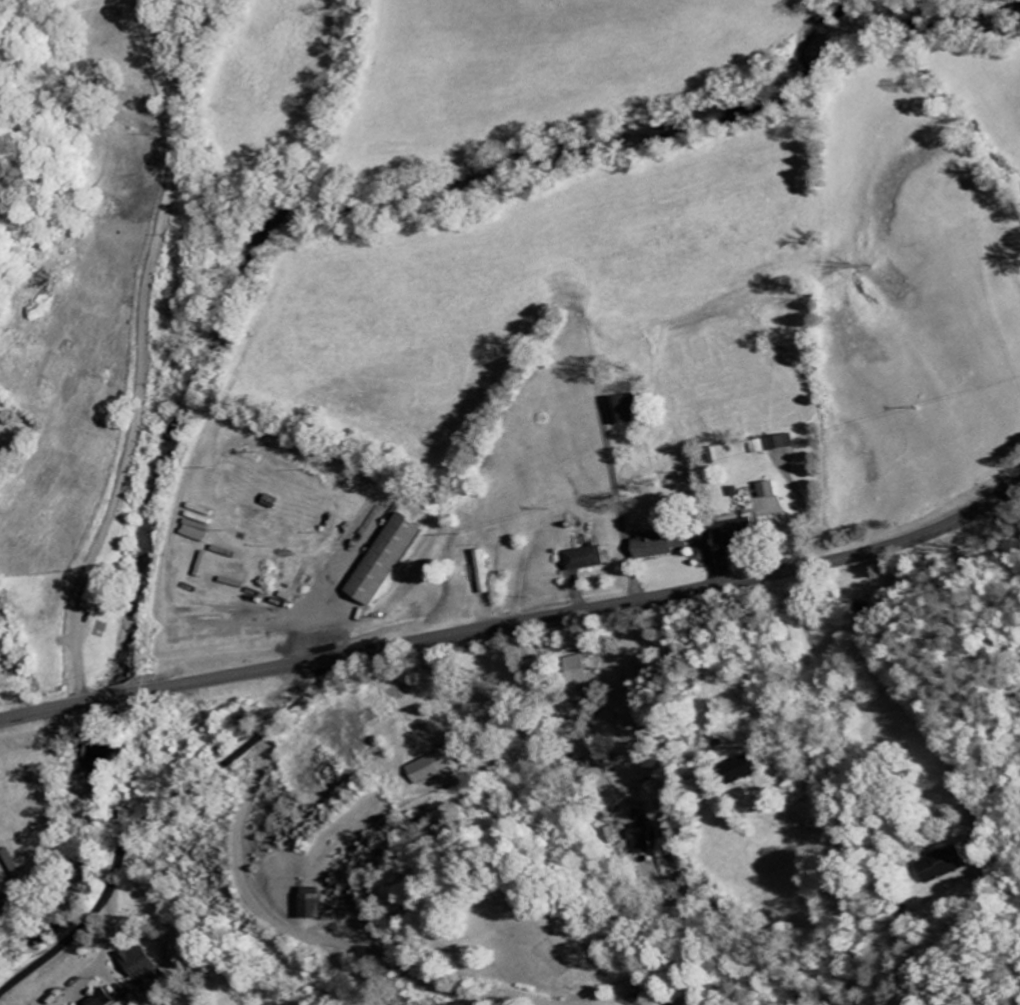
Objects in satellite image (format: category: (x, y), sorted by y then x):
road: (135, 352)
building: (626, 412)
building: (781, 444)
building: (770, 490)
road: (610, 502)
building: (735, 532)
building: (663, 544)
building: (588, 560)
building: (389, 561)
building: (100, 592)
road: (517, 622)
road: (200, 624)
road: (343, 639)
road: (296, 641)
building: (580, 672)
road: (502, 714)
road: (554, 727)
building: (753, 767)
building: (430, 770)
road: (811, 807)
road: (154, 813)
building: (637, 838)
building: (935, 866)
building: (2, 885)
road: (307, 933)
building: (141, 963)
building: (100, 999)

